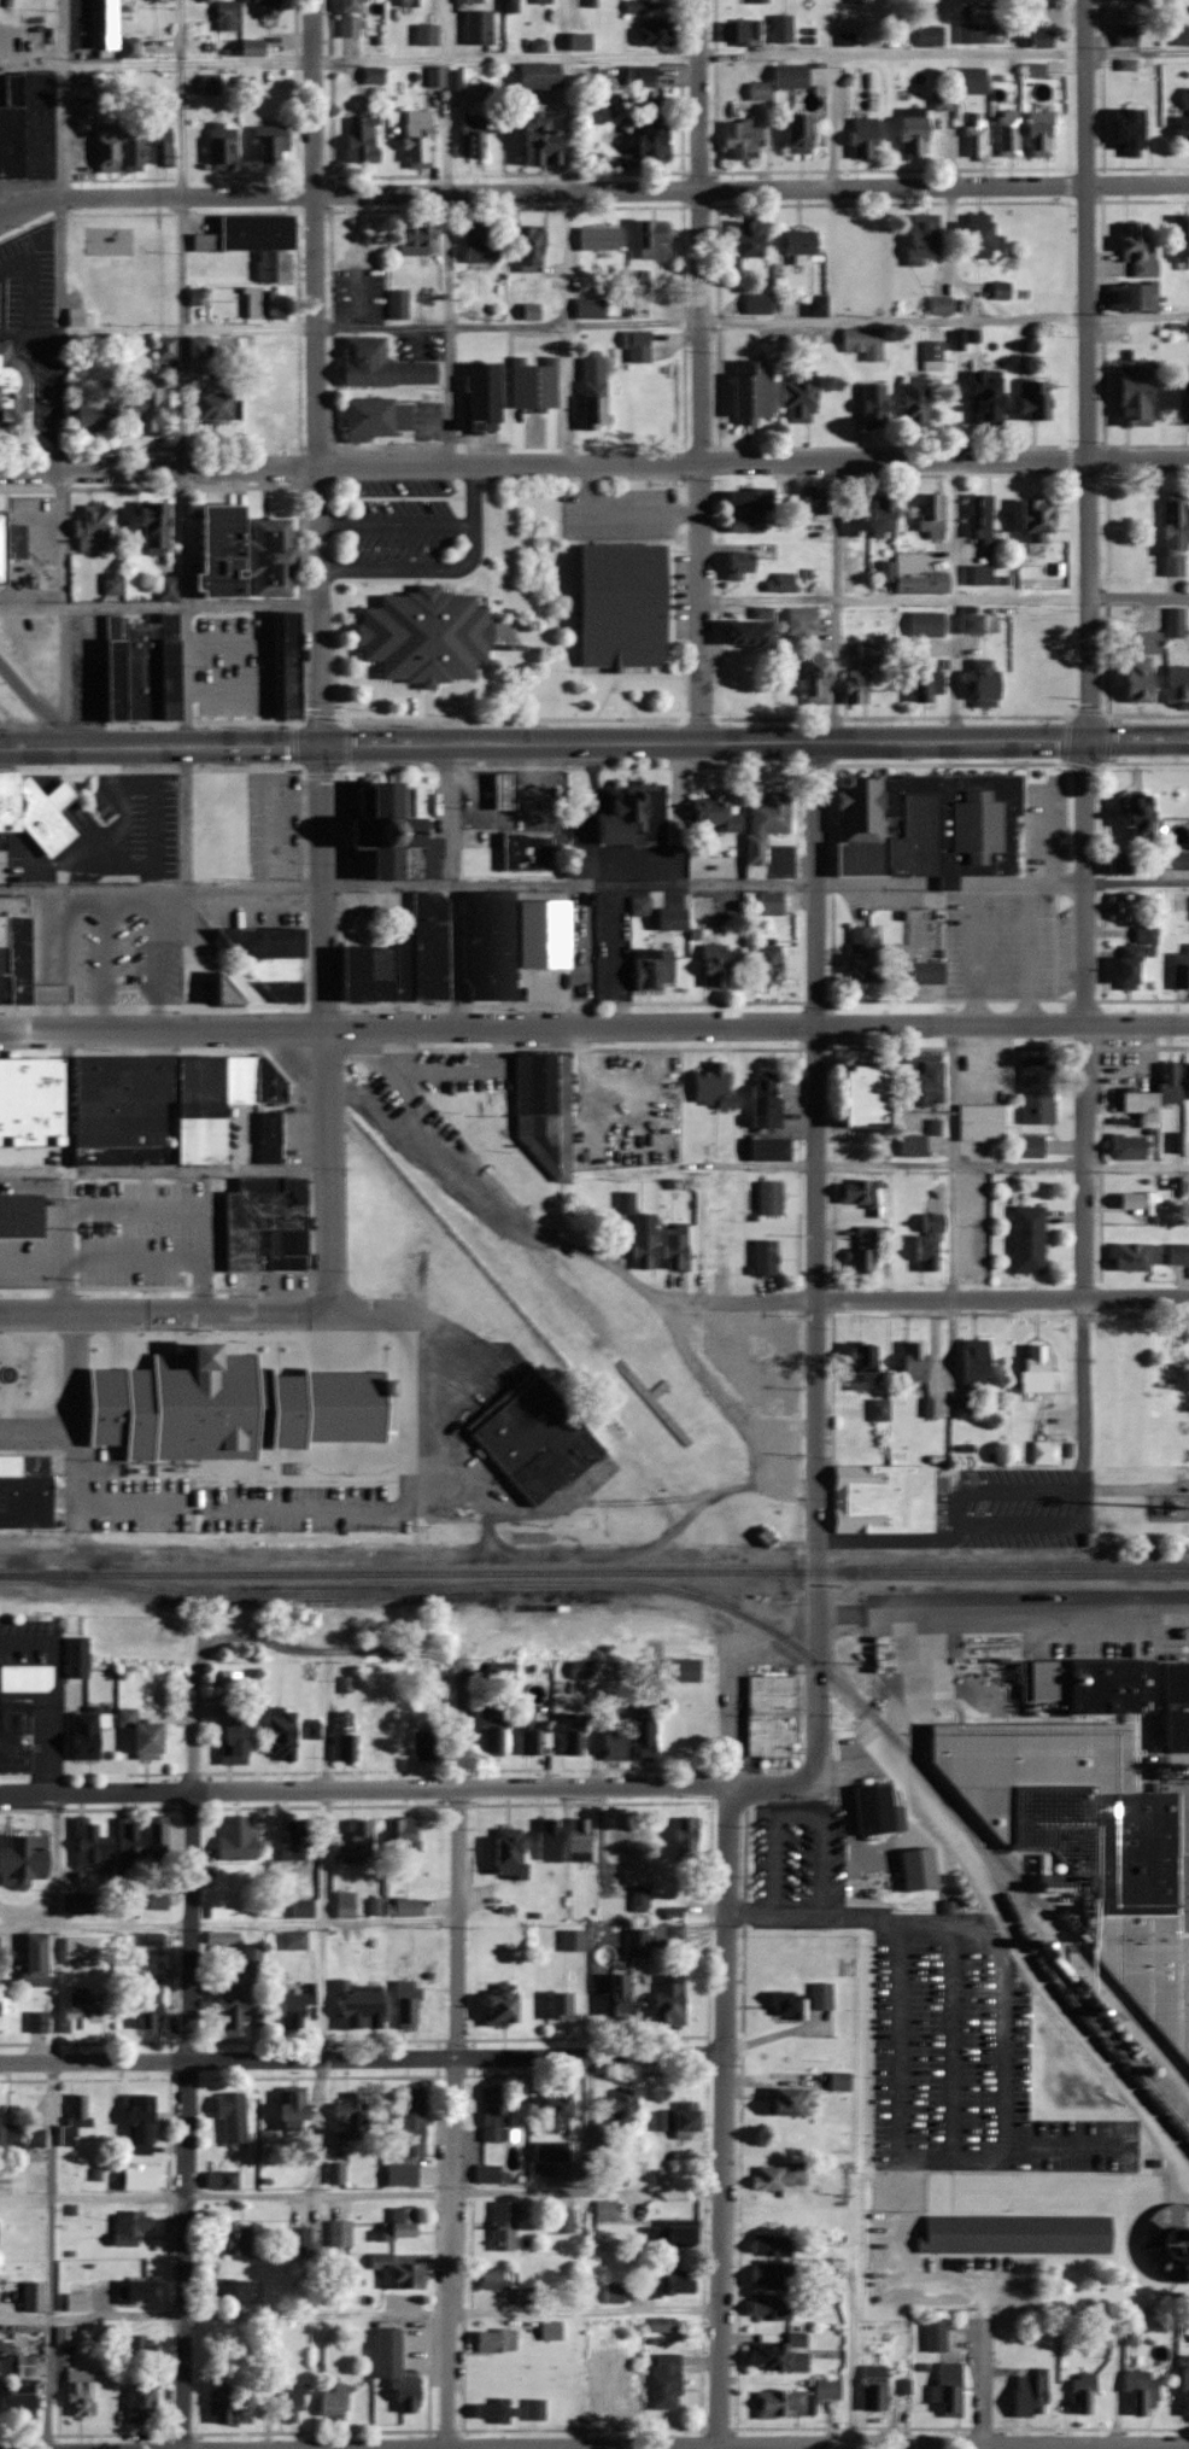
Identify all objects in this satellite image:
building: (860, 0)
building: (402, 1)
building: (470, 1)
building: (541, 1)
building: (758, 1)
building: (592, 2)
building: (512, 6)
building: (637, 6)
building: (271, 8)
building: (227, 16)
building: (353, 18)
building: (106, 25)
building: (480, 28)
building: (784, 29)
building: (745, 31)
building: (658, 33)
building: (982, 34)
building: (931, 35)
building: (1121, 36)
building: (1179, 36)
building: (1044, 40)
building: (582, 41)
building: (131, 48)
building: (254, 48)
road: (594, 55)
building: (1123, 64)
building: (375, 75)
building: (543, 75)
building: (627, 75)
building: (792, 76)
building: (972, 81)
building: (212, 84)
building: (760, 92)
building: (942, 101)
road: (831, 119)
building: (1182, 123)
building: (28, 125)
building: (1123, 130)
building: (915, 133)
building: (802, 134)
building: (1009, 135)
building: (474, 136)
building: (866, 136)
building: (979, 136)
building: (1043, 138)
building: (364, 140)
building: (744, 140)
building: (547, 141)
building: (657, 141)
building: (421, 142)
building: (274, 145)
building: (163, 146)
building: (224, 146)
building: (109, 147)
building: (134, 148)
road: (592, 187)
road: (563, 230)
road: (181, 233)
building: (1178, 236)
building: (417, 238)
building: (601, 238)
building: (926, 238)
building: (655, 240)
building: (751, 240)
building: (984, 240)
building: (258, 244)
building: (803, 244)
building: (481, 245)
building: (534, 247)
building: (1134, 251)
building: (1002, 291)
building: (640, 294)
building: (1131, 298)
building: (760, 303)
building: (400, 304)
building: (592, 304)
building: (264, 305)
building: (819, 305)
building: (943, 305)
road: (626, 323)
road: (446, 327)
building: (866, 343)
building: (639, 346)
building: (201, 347)
building: (935, 356)
building: (382, 366)
road: (703, 370)
road: (1089, 370)
road: (61, 373)
road: (316, 373)
building: (1182, 382)
building: (11, 384)
building: (755, 392)
building: (596, 394)
building: (487, 398)
building: (990, 398)
building: (1127, 398)
building: (1037, 401)
building: (802, 402)
building: (919, 403)
building: (218, 407)
building: (541, 407)
building: (875, 407)
building: (1178, 410)
building: (156, 411)
building: (98, 417)
building: (380, 417)
road: (593, 462)
building: (751, 498)
building: (815, 502)
building: (859, 515)
building: (932, 515)
building: (885, 516)
building: (982, 516)
building: (750, 524)
building: (1041, 524)
road: (396, 527)
building: (158, 528)
building: (96, 531)
building: (1168, 538)
building: (10, 539)
building: (248, 555)
building: (743, 565)
road: (445, 573)
building: (914, 575)
building: (978, 575)
building: (783, 583)
building: (168, 589)
road: (945, 598)
road: (954, 600)
road: (159, 602)
building: (621, 606)
building: (979, 621)
building: (804, 624)
building: (927, 624)
building: (1171, 624)
building: (754, 631)
building: (421, 635)
building: (869, 650)
building: (166, 662)
building: (289, 662)
building: (113, 666)
building: (140, 668)
road: (833, 672)
building: (819, 682)
building: (931, 683)
building: (988, 684)
building: (1173, 684)
building: (857, 685)
building: (1130, 685)
road: (34, 695)
traffic signals: (1089, 742)
road: (593, 743)
traffic signals: (324, 746)
road: (192, 747)
building: (498, 790)
gas station: (498, 790)
building: (30, 811)
building: (710, 813)
building: (628, 816)
building: (1132, 816)
building: (224, 824)
building: (929, 824)
building: (393, 831)
building: (752, 838)
building: (2, 840)
building: (522, 853)
building: (1172, 859)
building: (1114, 861)
road: (1138, 879)
road: (408, 882)
road: (452, 886)
road: (951, 895)
building: (767, 902)
building: (12, 906)
building: (640, 910)
building: (1129, 916)
building: (666, 918)
building: (5, 934)
building: (265, 937)
building: (503, 940)
building: (422, 948)
building: (860, 953)
building: (6, 960)
building: (763, 963)
building: (710, 965)
building: (30, 966)
building: (1121, 966)
building: (1177, 968)
building: (648, 969)
building: (368, 972)
building: (924, 972)
building: (283, 988)
building: (7, 989)
building: (223, 993)
road: (593, 1025)
road: (327, 1029)
building: (920, 1077)
building: (239, 1079)
building: (268, 1081)
building: (709, 1086)
building: (1033, 1089)
building: (855, 1094)
building: (1153, 1095)
building: (29, 1098)
building: (761, 1099)
road: (1086, 1103)
building: (199, 1107)
building: (544, 1107)
building: (119, 1110)
building: (977, 1122)
building: (270, 1135)
building: (1027, 1145)
building: (909, 1146)
building: (1124, 1146)
building: (765, 1148)
building: (30, 1150)
road: (748, 1162)
road: (1002, 1163)
road: (164, 1170)
building: (863, 1194)
building: (766, 1197)
building: (1134, 1202)
building: (22, 1214)
building: (266, 1220)
building: (714, 1232)
building: (1024, 1238)
building: (640, 1240)
building: (924, 1243)
building: (670, 1250)
building: (857, 1250)
building: (1176, 1252)
building: (760, 1255)
building: (1129, 1256)
road: (815, 1263)
road: (933, 1298)
road: (212, 1313)
building: (752, 1361)
building: (908, 1361)
building: (971, 1361)
building: (1167, 1363)
building: (857, 1364)
building: (1032, 1368)
building: (232, 1404)
road: (70, 1409)
building: (875, 1409)
building: (534, 1434)
building: (1041, 1453)
road: (1135, 1489)
building: (25, 1491)
building: (878, 1498)
road: (956, 1506)
road: (88, 1509)
road: (406, 1510)
road: (1035, 1521)
railway: (594, 1572)
railway: (494, 1583)
road: (333, 1655)
building: (502, 1668)
building: (581, 1668)
building: (681, 1668)
building: (28, 1678)
building: (229, 1681)
building: (773, 1714)
building: (492, 1732)
building: (87, 1734)
building: (146, 1734)
building: (283, 1735)
building: (345, 1735)
building: (573, 1735)
building: (16, 1736)
building: (646, 1738)
building: (239, 1740)
building: (535, 1740)
building: (617, 1743)
building: (426, 1744)
building: (373, 1747)
road: (773, 1784)
road: (365, 1789)
building: (873, 1810)
building: (1097, 1810)
road: (797, 1818)
building: (404, 1835)
building: (689, 1837)
building: (581, 1839)
building: (551, 1840)
building: (238, 1841)
building: (358, 1841)
building: (159, 1842)
building: (301, 1842)
building: (93, 1843)
building: (129, 1843)
building: (631, 1848)
building: (512, 1857)
building: (24, 1859)
road: (461, 1863)
building: (913, 1869)
building: (642, 1898)
building: (159, 1901)
building: (78, 1902)
building: (346, 1904)
building: (400, 1907)
building: (304, 1909)
building: (224, 1910)
railway: (1042, 1912)
road: (230, 1923)
building: (668, 1933)
building: (223, 1936)
building: (153, 1939)
building: (295, 1940)
building: (574, 1940)
building: (83, 1950)
building: (0, 1959)
building: (39, 1959)
road: (321, 1993)
building: (242, 1994)
building: (822, 1995)
building: (621, 1997)
building: (672, 1999)
building: (410, 2004)
building: (787, 2004)
building: (564, 2005)
building: (361, 2006)
building: (504, 2006)
building: (298, 2007)
building: (84, 2010)
building: (151, 2010)
building: (4, 2013)
building: (40, 2022)
road: (192, 2047)
road: (363, 2058)
road: (725, 2062)
building: (840, 2080)
road: (1000, 2083)
building: (790, 2100)
building: (560, 2105)
building: (298, 2109)
building: (626, 2110)
building: (496, 2114)
building: (234, 2116)
building: (351, 2116)
building: (662, 2120)
road: (51, 2121)
building: (414, 2121)
building: (691, 2121)
building: (76, 2122)
building: (145, 2123)
building: (18, 2138)
building: (552, 2150)
building: (336, 2173)
building: (490, 2173)
building: (403, 2174)
building: (781, 2175)
building: (142, 2176)
road: (361, 2196)
building: (607, 2209)
building: (768, 2213)
building: (566, 2220)
building: (402, 2223)
building: (131, 2226)
building: (505, 2226)
building: (673, 2232)
building: (341, 2233)
building: (1012, 2234)
building: (235, 2238)
building: (1166, 2241)
building: (773, 2245)
road: (449, 2252)
building: (399, 2273)
building: (774, 2275)
building: (498, 2278)
building: (672, 2284)
building: (233, 2290)
building: (136, 2291)
building: (526, 2296)
building: (35, 2297)
building: (772, 2307)
road: (359, 2311)
building: (663, 2325)
building: (552, 2331)
building: (931, 2334)
building: (65, 2336)
building: (498, 2340)
building: (389, 2344)
building: (135, 2345)
building: (781, 2352)
road: (849, 2362)
building: (593, 2368)
building: (667, 2381)
road: (979, 2384)
building: (872, 2387)
building: (945, 2389)
building: (1025, 2391)
building: (82, 2392)
building: (409, 2392)
building: (1136, 2392)
building: (1183, 2392)
building: (1079, 2394)
building: (620, 2396)
building: (143, 2398)
building: (19, 2400)
building: (795, 2400)
building: (336, 2402)
building: (294, 2403)
building: (225, 2404)
building: (535, 2409)
building: (496, 2410)
road: (752, 2443)
road: (1113, 2447)

